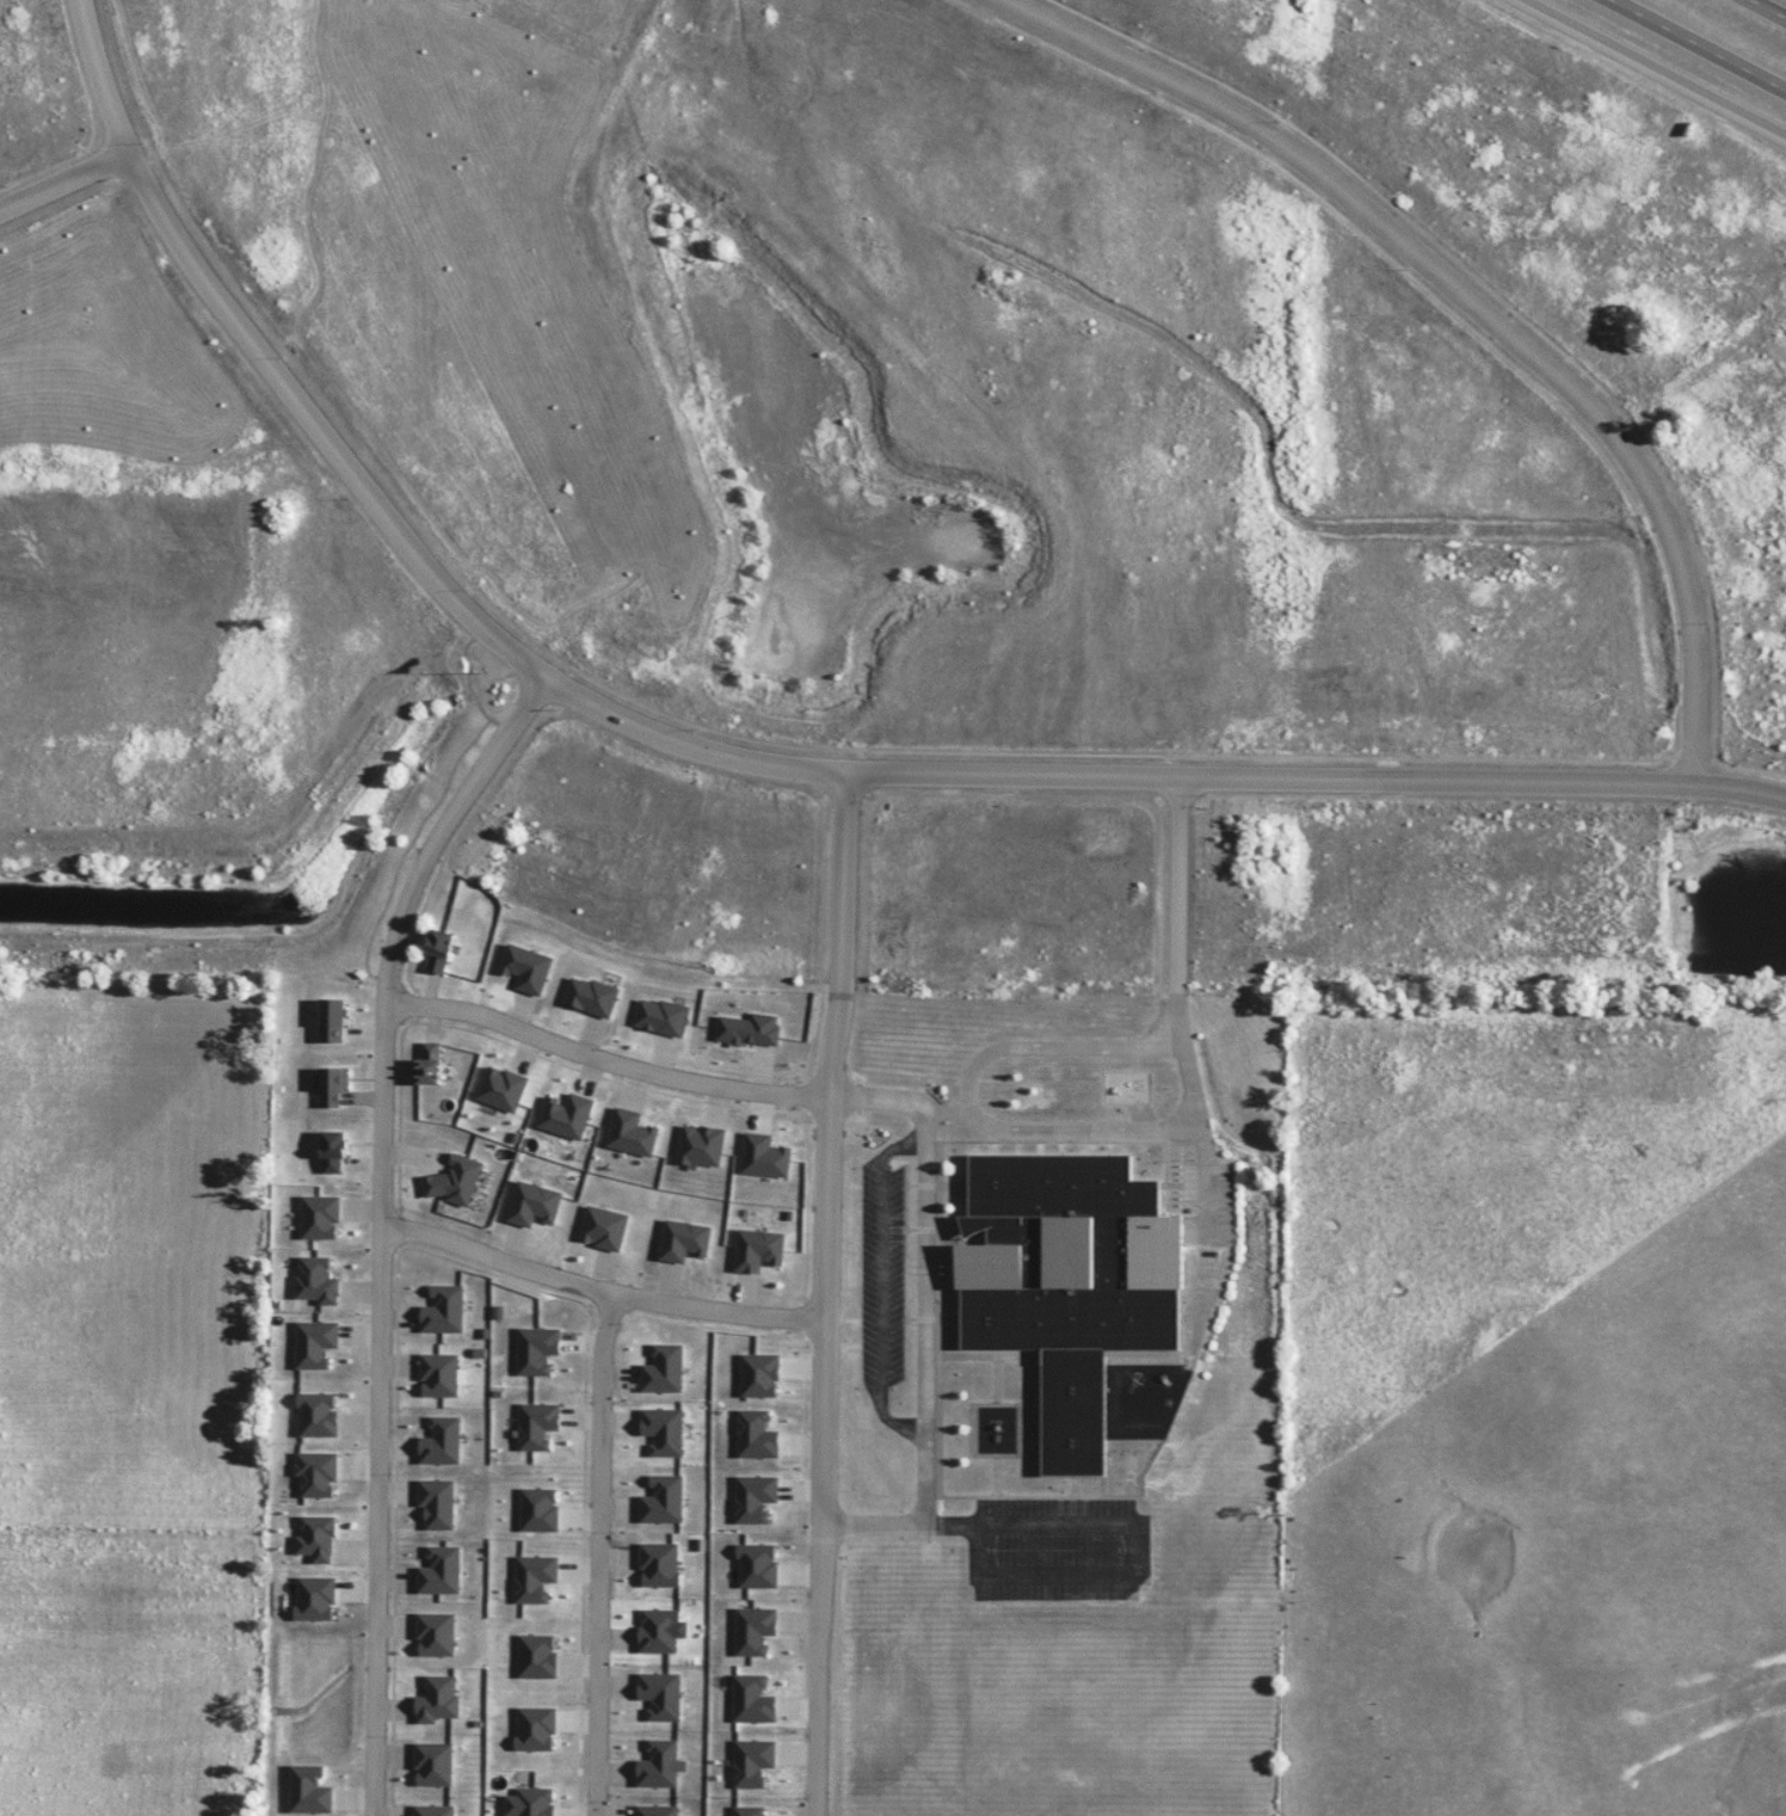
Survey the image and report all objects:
road: (1772, 6)
road: (1700, 44)
road: (1657, 66)
road: (67, 181)
road: (1472, 301)
road: (744, 757)
building: (436, 952)
road: (1184, 998)
building: (332, 1034)
road: (603, 1059)
building: (421, 1069)
building: (332, 1088)
building: (330, 1153)
road: (383, 1225)
parking lot: (879, 1269)
building: (1058, 1286)
road: (598, 1292)
road: (823, 1294)
road: (917, 1322)
road: (946, 1519)
parking lot: (1053, 1547)
road: (597, 1556)

